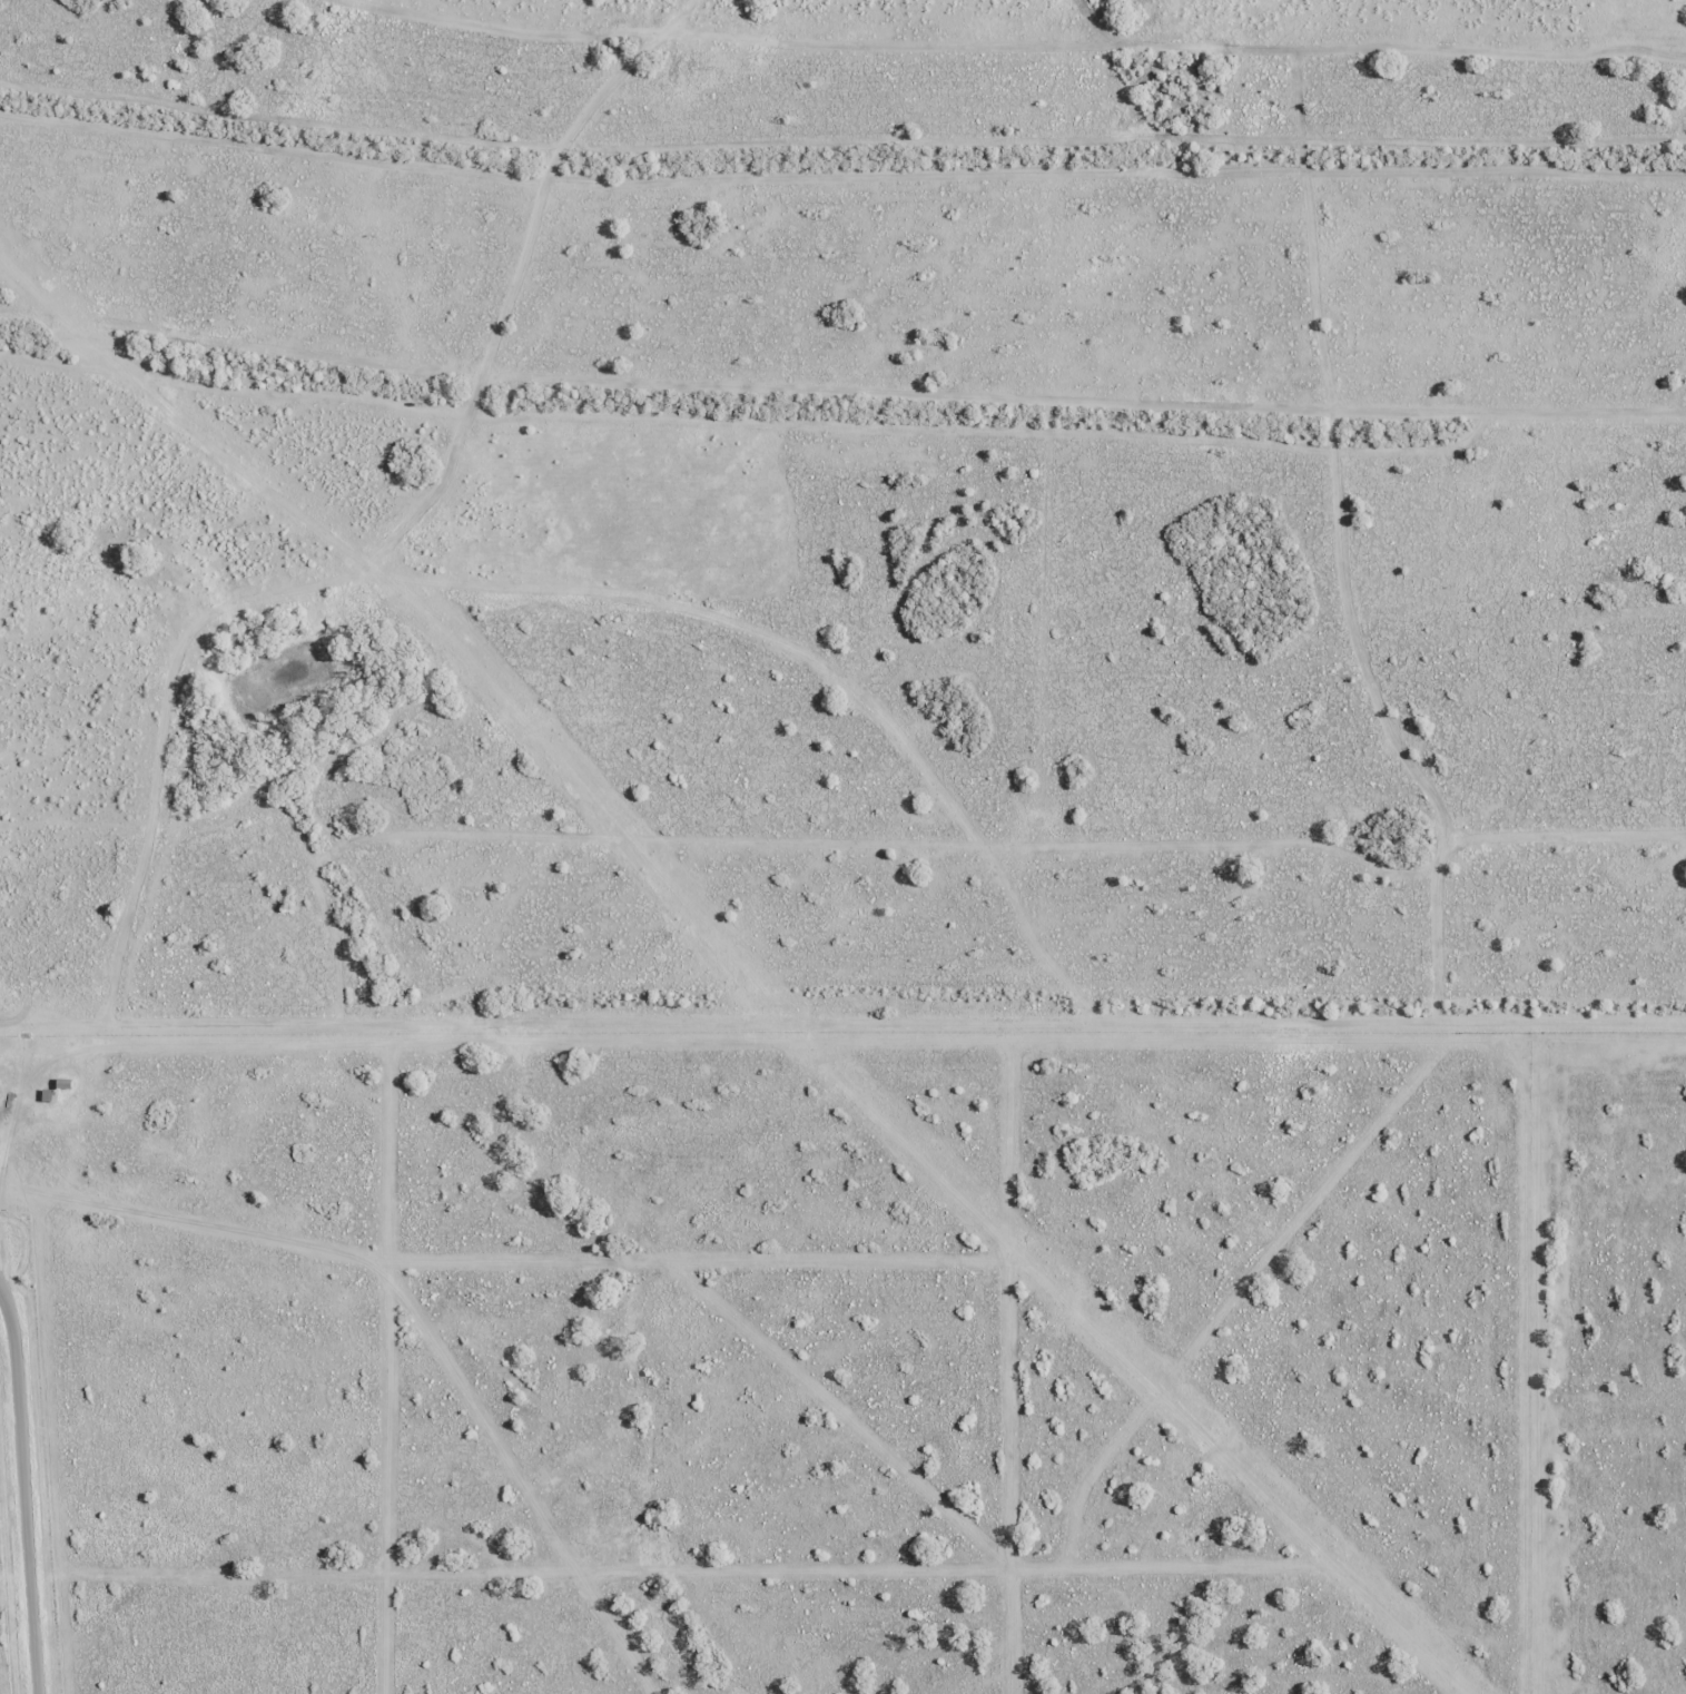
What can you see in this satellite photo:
building: (61, 1083)
building: (47, 1095)
road: (22, 1489)

